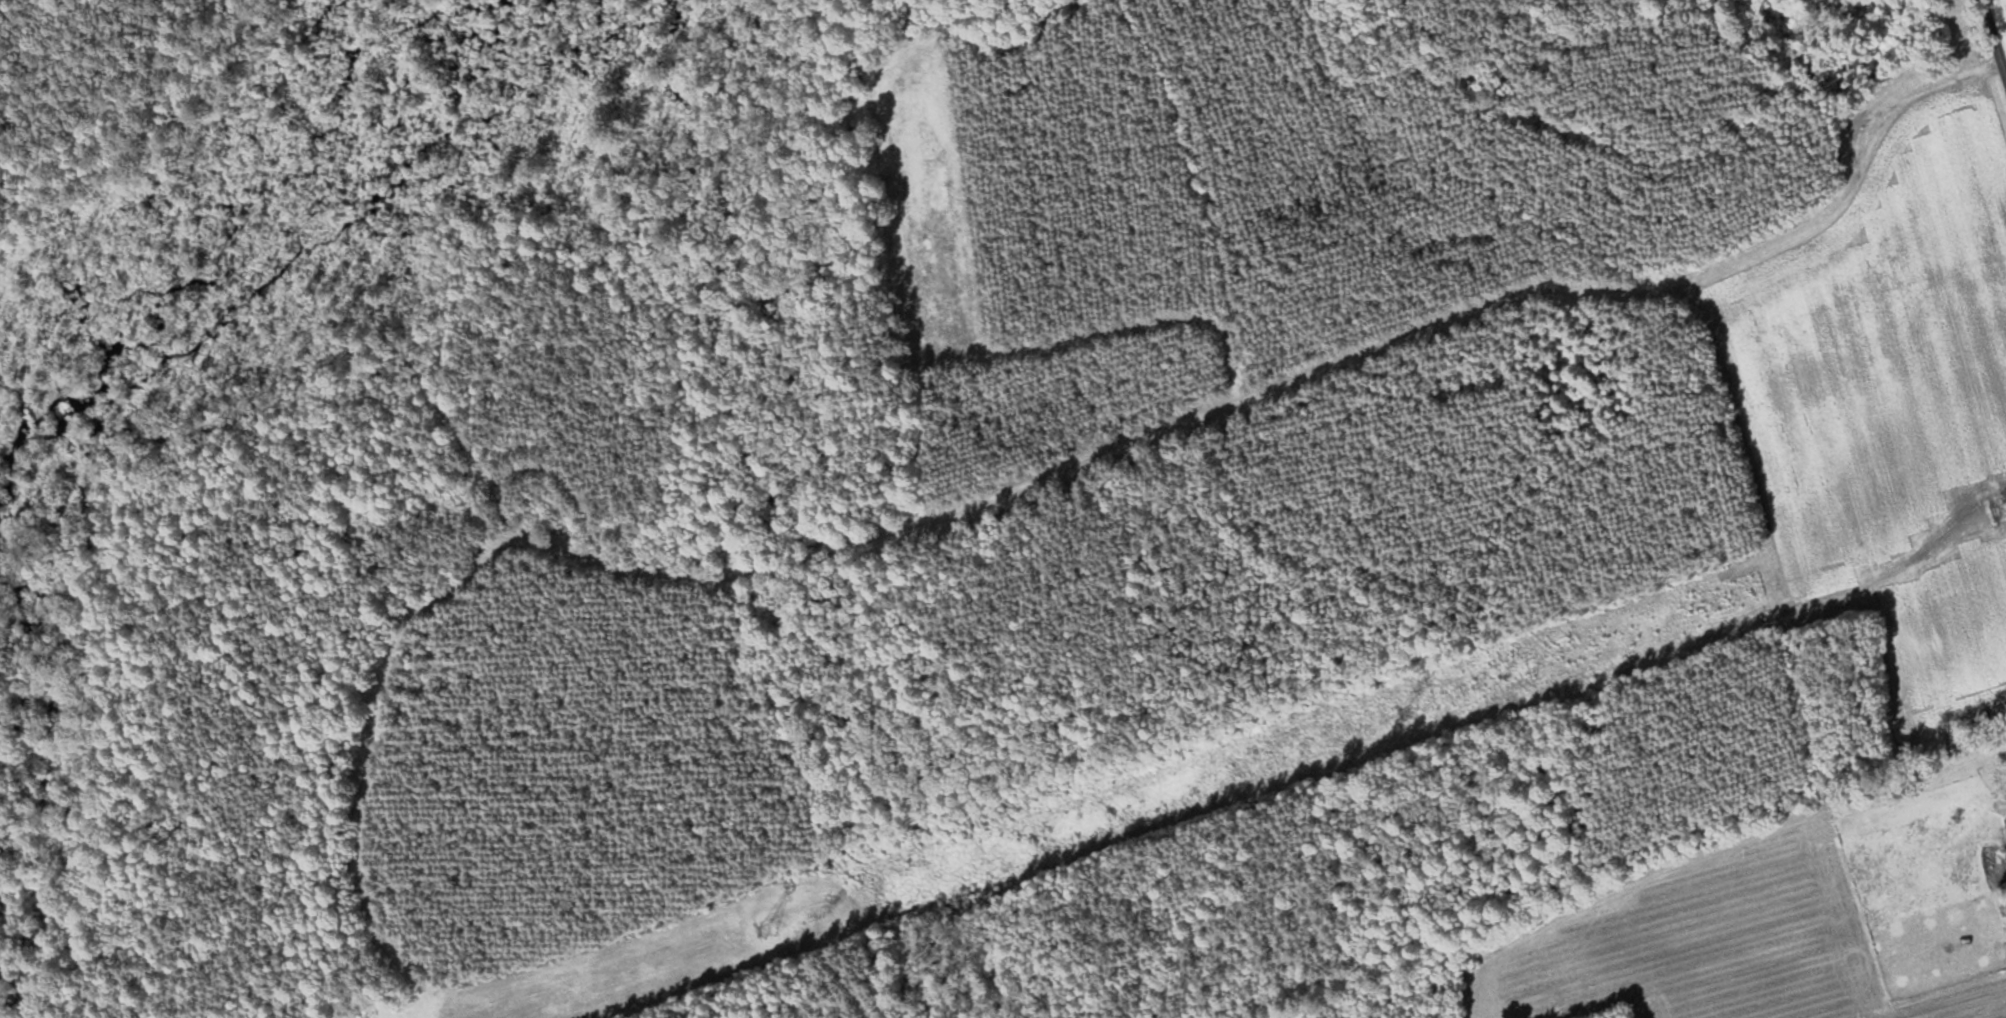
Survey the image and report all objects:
road: (1994, 37)
building: (1767, 88)
building: (2005, 829)
building: (2001, 873)

